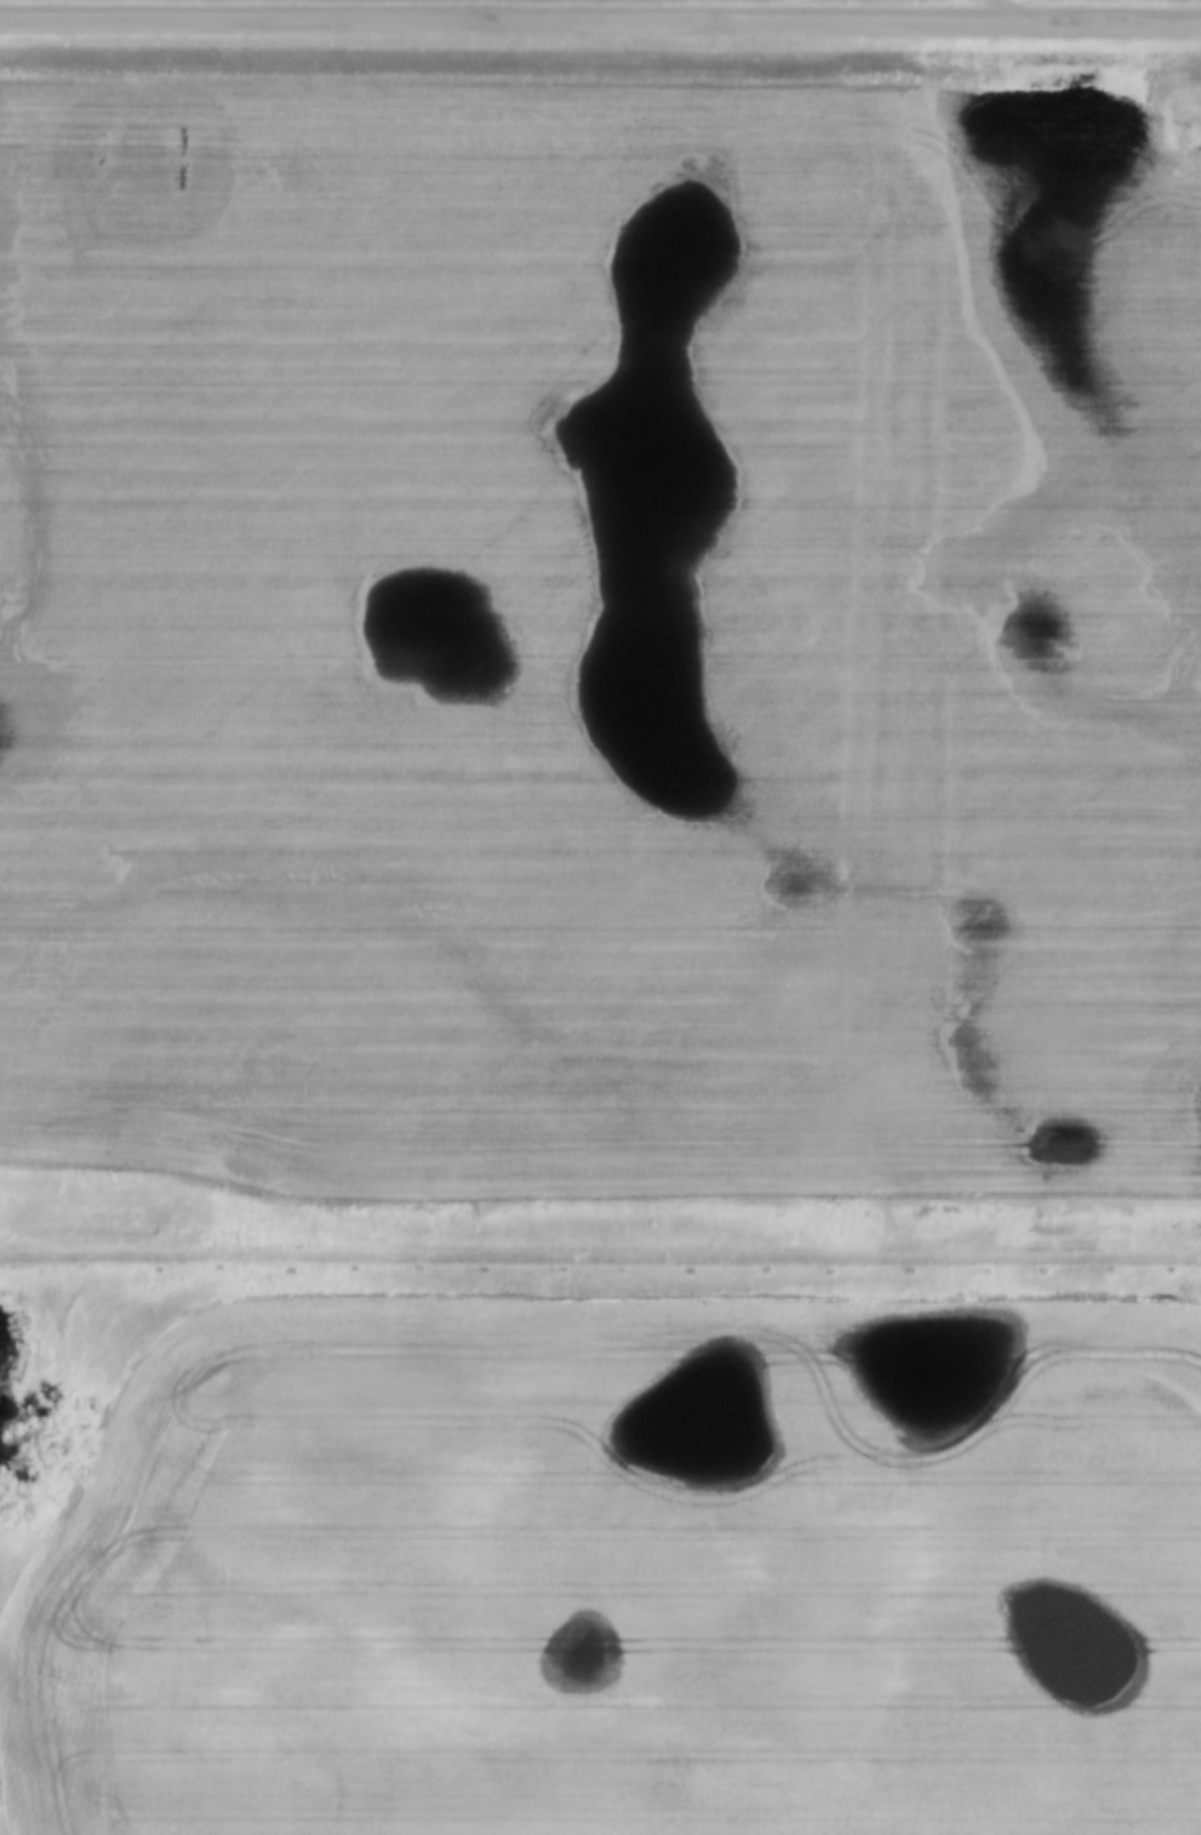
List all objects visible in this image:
road: (1007, 12)
road: (600, 21)

